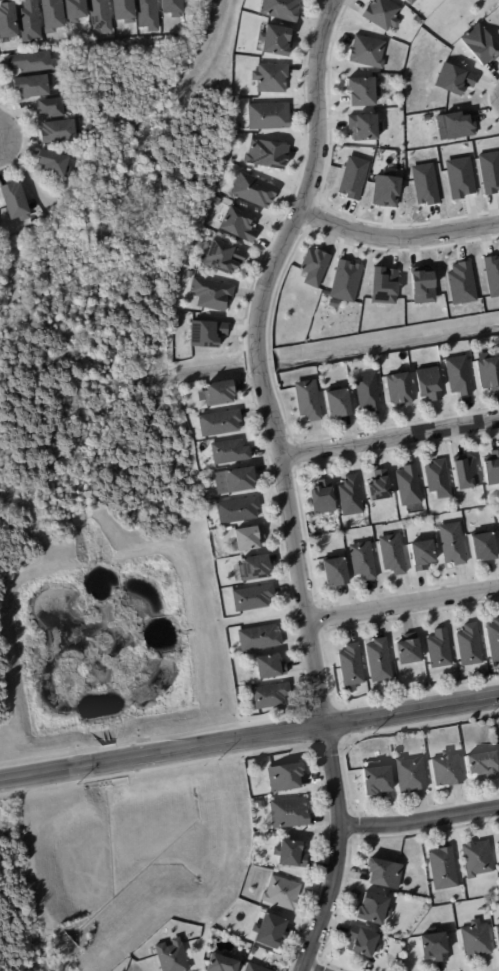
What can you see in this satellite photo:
building: (411, 1)
building: (171, 7)
building: (281, 9)
building: (74, 10)
building: (123, 10)
building: (147, 14)
building: (382, 14)
building: (51, 15)
building: (99, 15)
building: (7, 21)
building: (29, 21)
building: (275, 39)
building: (481, 45)
building: (367, 51)
building: (31, 62)
building: (270, 77)
building: (453, 78)
building: (31, 85)
building: (363, 91)
building: (52, 107)
building: (268, 116)
building: (425, 116)
building: (457, 124)
building: (364, 127)
building: (57, 130)
building: (265, 153)
building: (52, 162)
building: (489, 170)
building: (351, 176)
building: (459, 177)
building: (424, 183)
building: (253, 190)
building: (384, 190)
building: (13, 201)
building: (216, 201)
building: (238, 224)
road: (398, 237)
building: (221, 256)
building: (315, 267)
building: (491, 274)
building: (344, 280)
building: (460, 283)
building: (383, 285)
building: (421, 287)
building: (212, 294)
building: (332, 302)
building: (205, 333)
building: (489, 373)
building: (459, 375)
building: (429, 384)
building: (399, 389)
building: (368, 393)
building: (219, 394)
building: (308, 400)
building: (338, 403)
building: (219, 423)
road: (390, 438)
building: (229, 452)
building: (491, 468)
building: (466, 473)
building: (436, 478)
building: (233, 479)
road: (284, 481)
building: (406, 483)
building: (379, 486)
building: (348, 494)
building: (321, 496)
building: (236, 509)
building: (498, 519)
building: (246, 537)
building: (453, 544)
building: (484, 549)
building: (392, 554)
building: (423, 556)
building: (363, 561)
building: (252, 566)
building: (335, 573)
building: (250, 596)
road: (403, 603)
building: (258, 638)
building: (493, 641)
building: (469, 646)
building: (409, 651)
building: (439, 651)
building: (379, 661)
building: (351, 666)
building: (269, 668)
building: (270, 696)
building: (498, 732)
road: (249, 736)
building: (483, 764)
building: (447, 770)
building: (410, 776)
building: (284, 777)
building: (377, 780)
building: (260, 805)
building: (289, 812)
road: (418, 823)
building: (497, 852)
building: (291, 853)
building: (477, 858)
building: (443, 868)
building: (385, 873)
building: (281, 892)
building: (373, 908)
building: (270, 930)
building: (497, 932)
building: (476, 939)
building: (363, 941)
building: (435, 946)
building: (253, 950)
building: (172, 956)
building: (221, 963)
building: (254, 968)
road: (309, 969)

